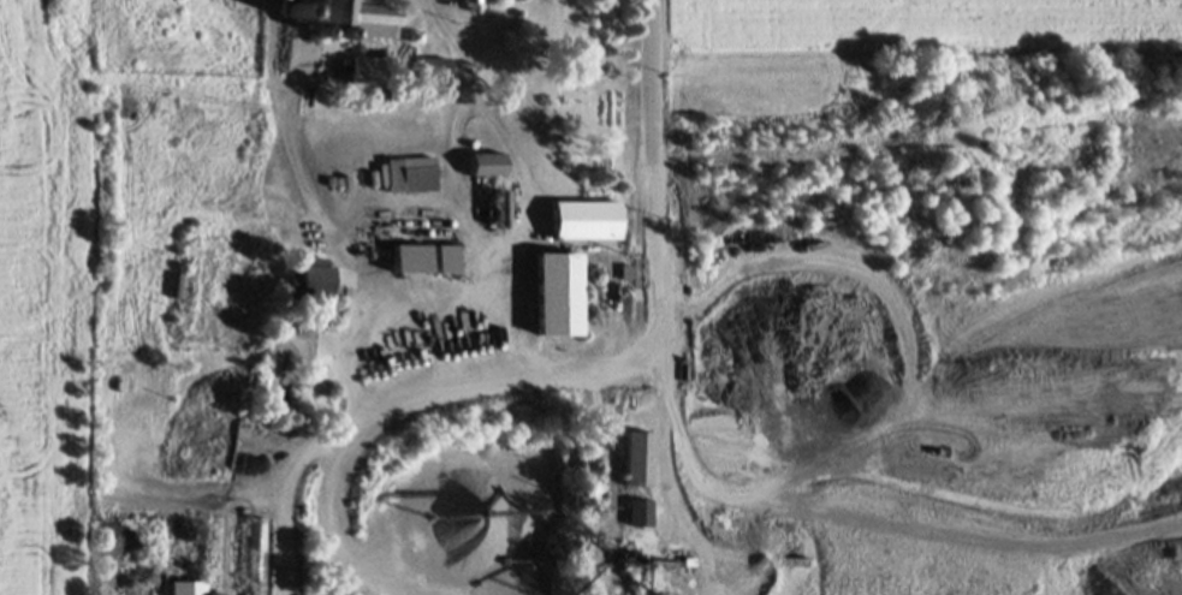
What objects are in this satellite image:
building: (469, 5)
building: (357, 17)
building: (415, 35)
crop: (931, 41)
building: (370, 67)
building: (434, 69)
building: (485, 162)
road: (293, 165)
building: (410, 173)
road: (653, 178)
building: (498, 207)
building: (584, 219)
road: (340, 233)
road: (515, 239)
building: (406, 255)
building: (624, 272)
building: (310, 279)
building: (554, 292)
quarry: (773, 363)
road: (346, 435)
road: (663, 435)
building: (637, 458)
building: (638, 510)
building: (683, 536)
building: (254, 555)
building: (186, 587)

